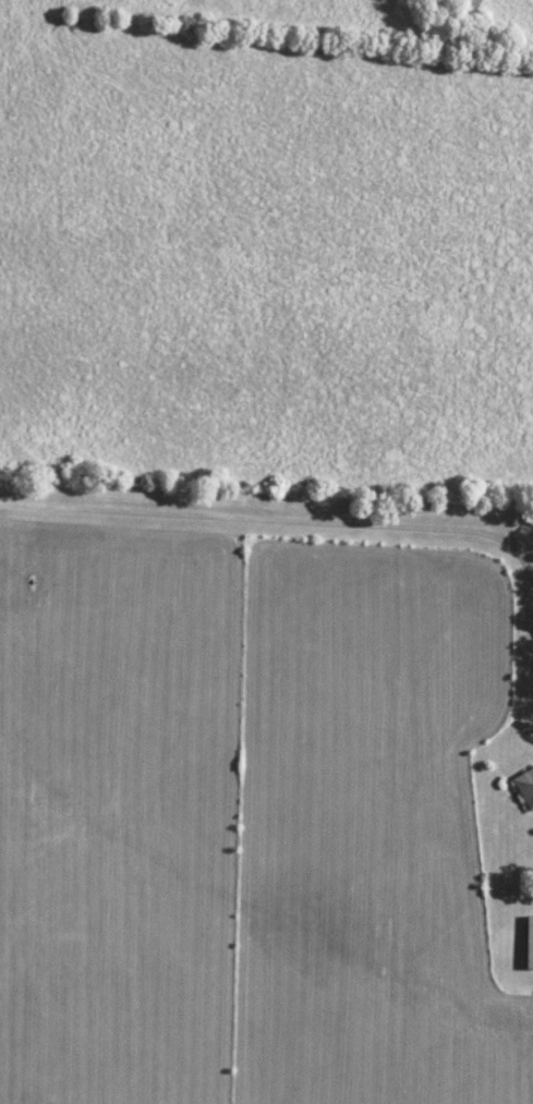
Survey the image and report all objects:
road: (334, 520)
building: (525, 787)
building: (529, 943)

